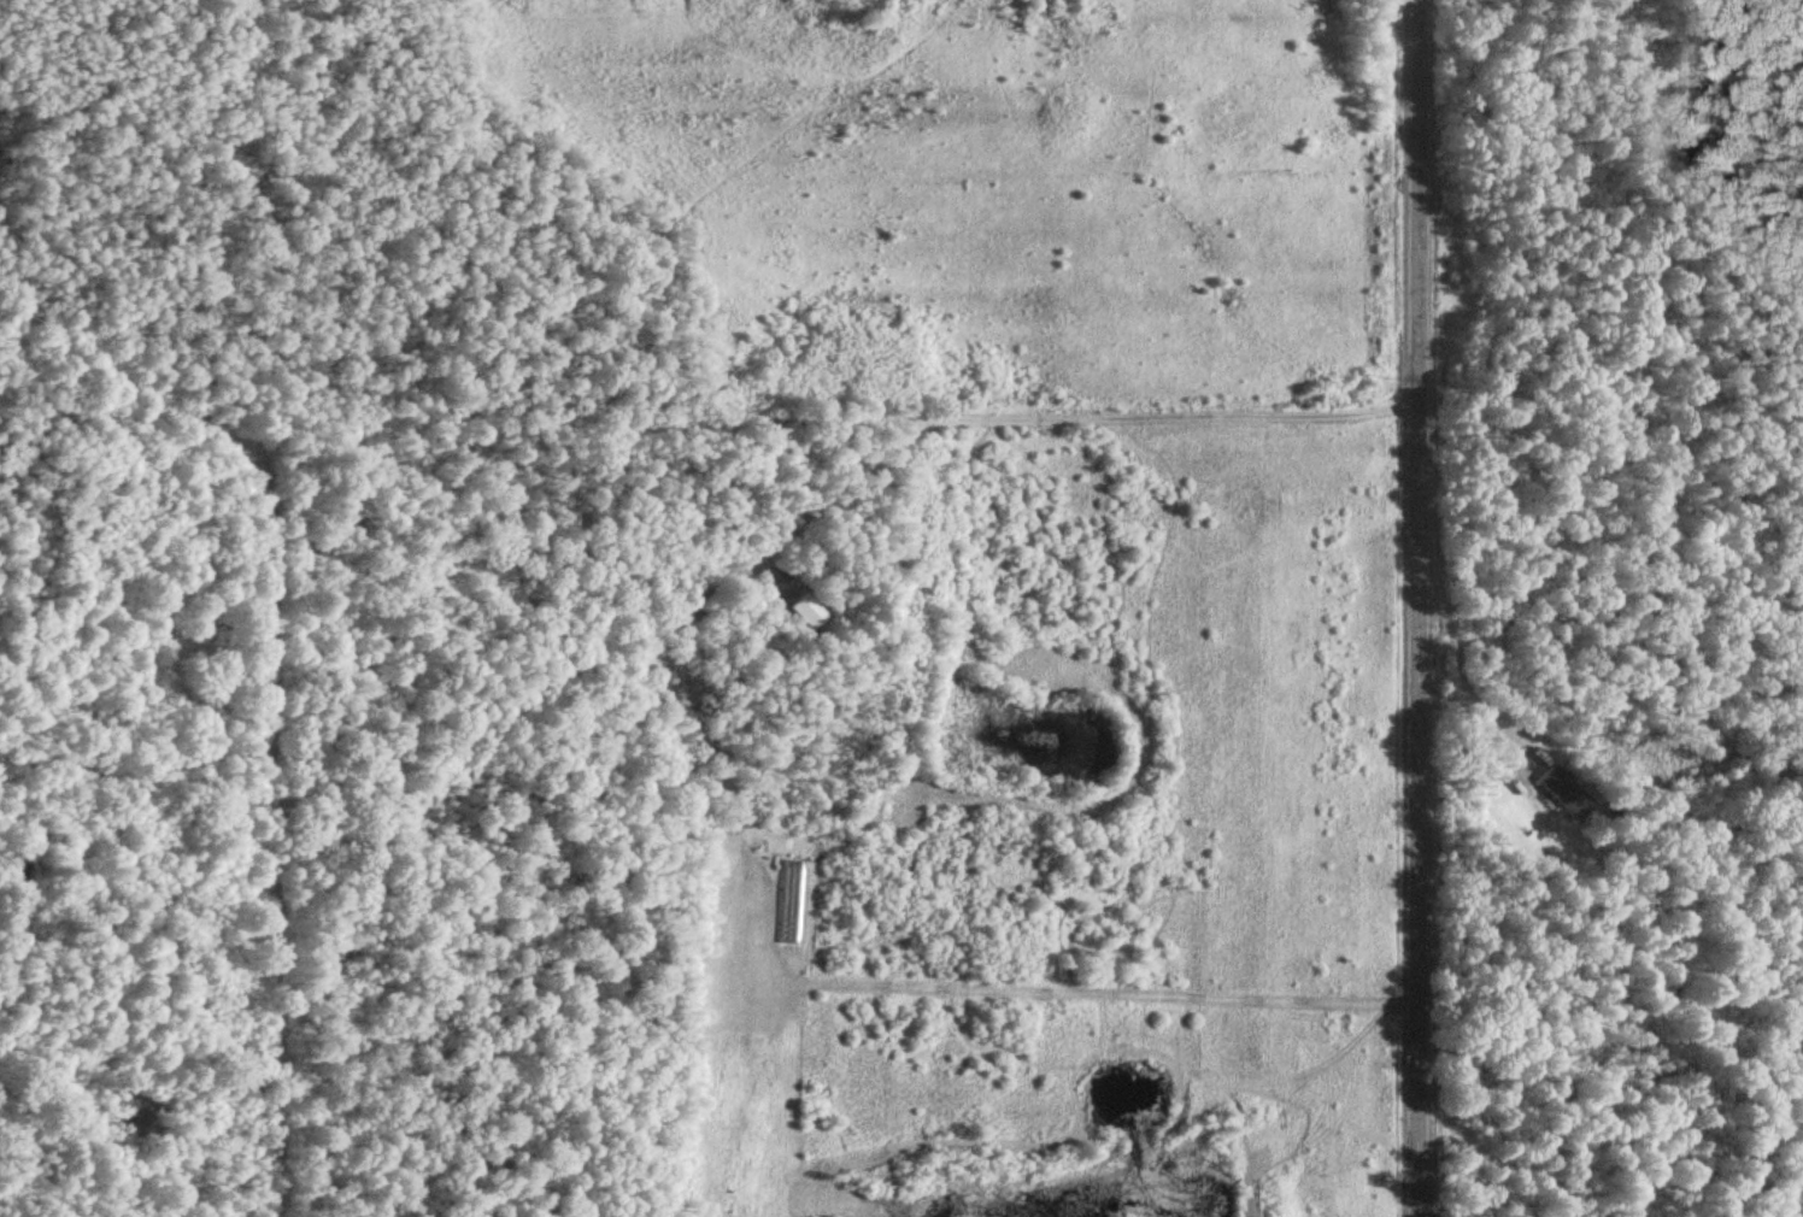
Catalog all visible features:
road: (1417, 607)
building: (1568, 793)

